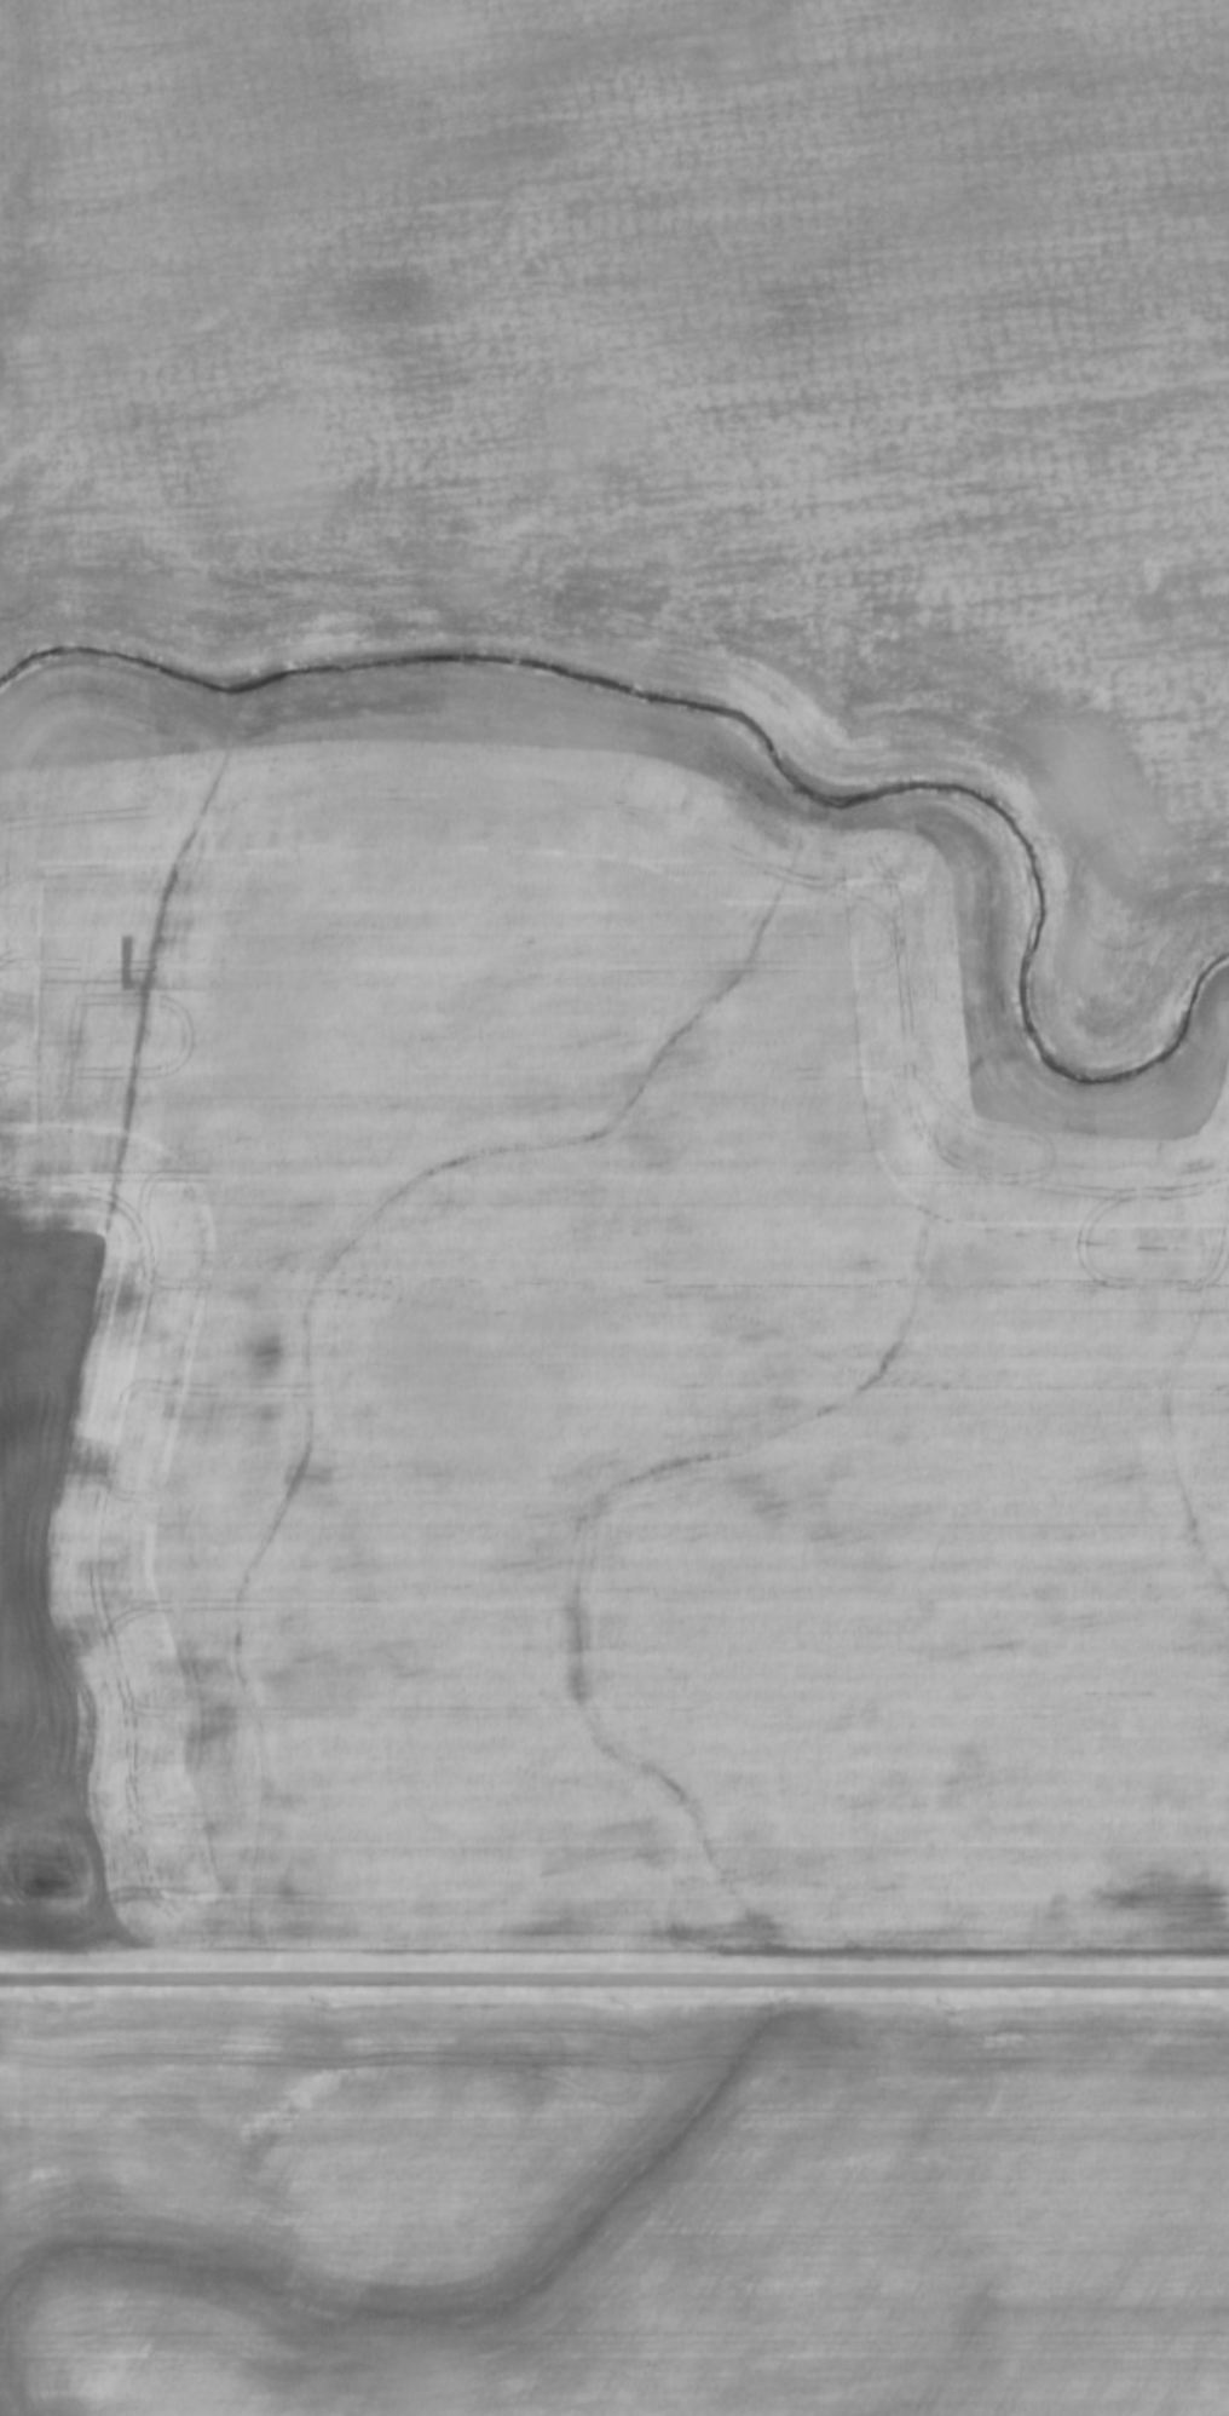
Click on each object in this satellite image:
road: (614, 1981)

